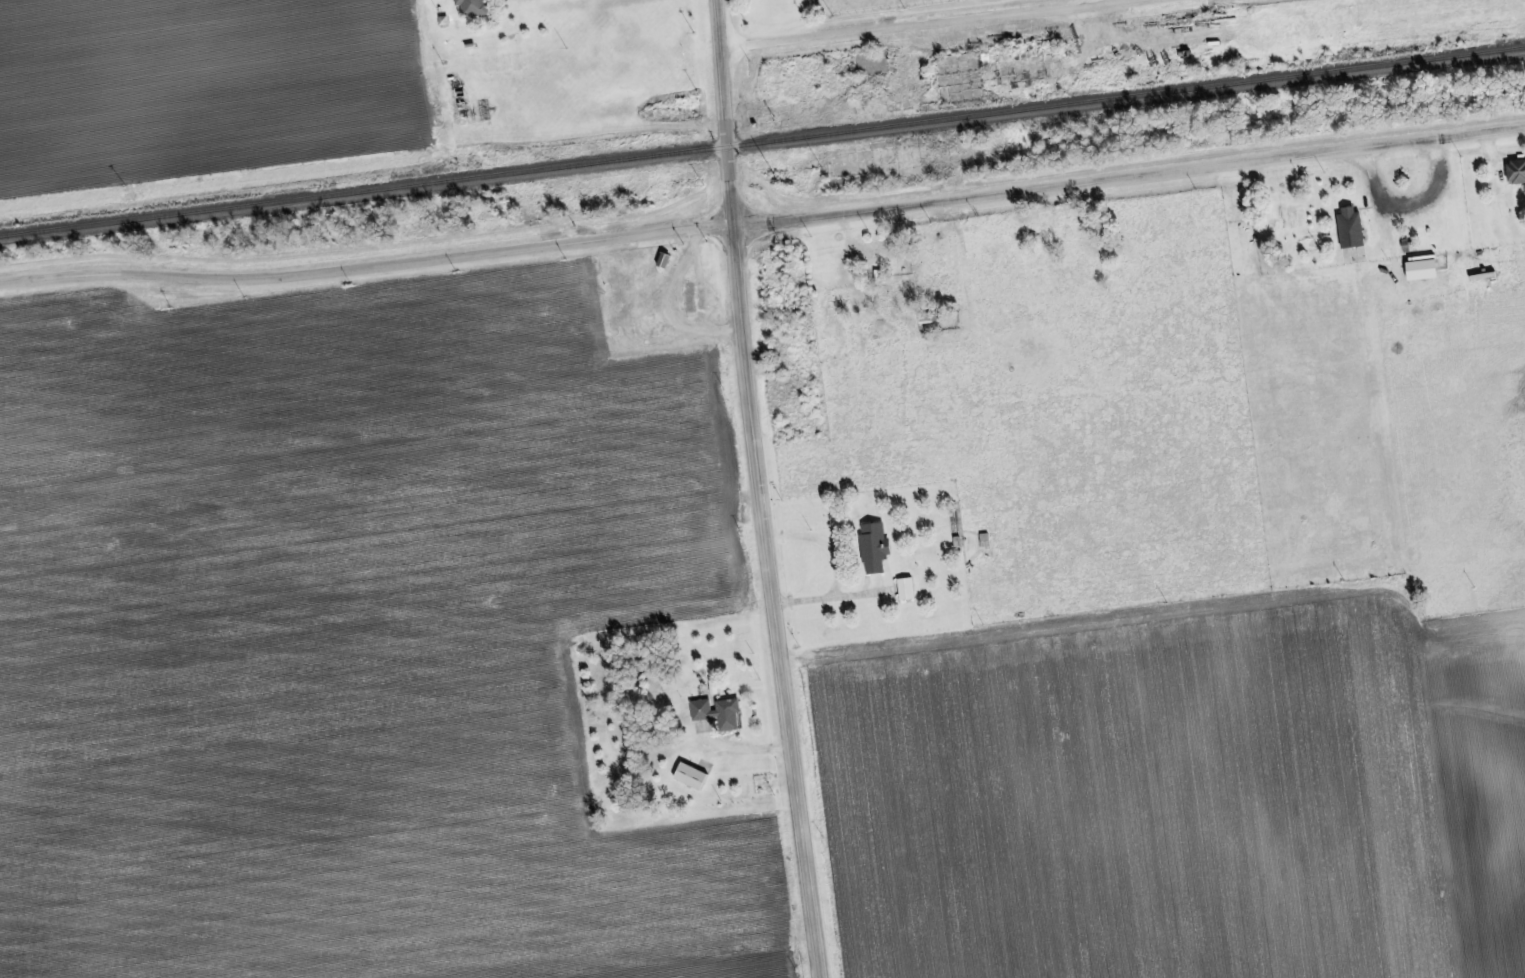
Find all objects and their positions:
road: (931, 27)
railway: (762, 142)
building: (1517, 173)
road: (1130, 177)
building: (1352, 230)
road: (366, 270)
building: (1424, 270)
road: (760, 489)
building: (876, 550)
building: (908, 591)
building: (719, 714)
building: (693, 778)

